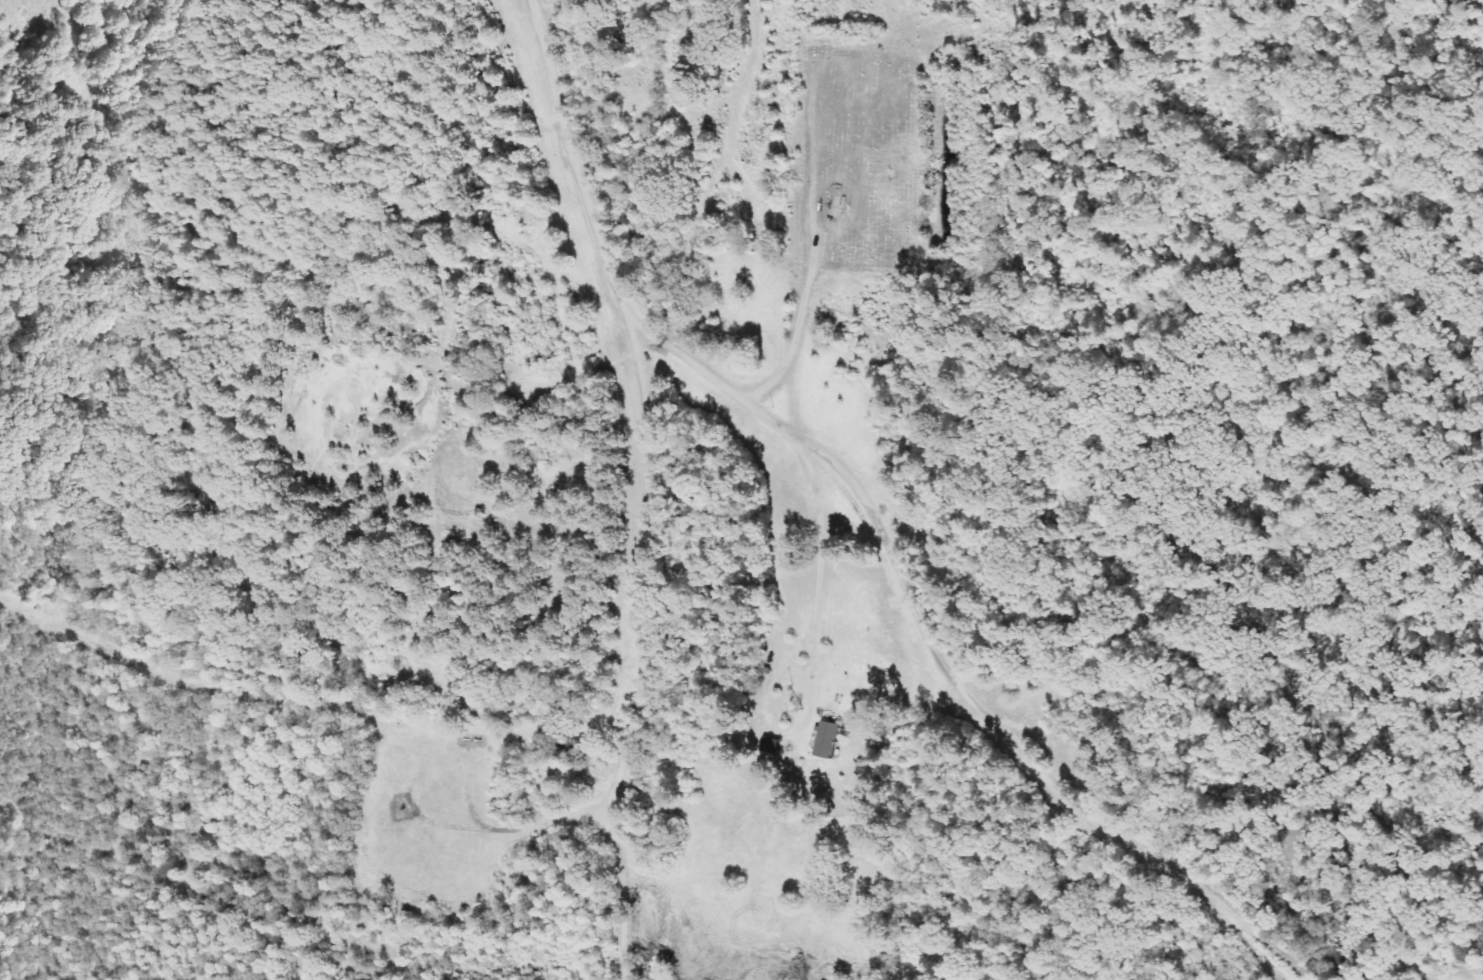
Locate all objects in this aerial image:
road: (644, 484)
building: (826, 739)

